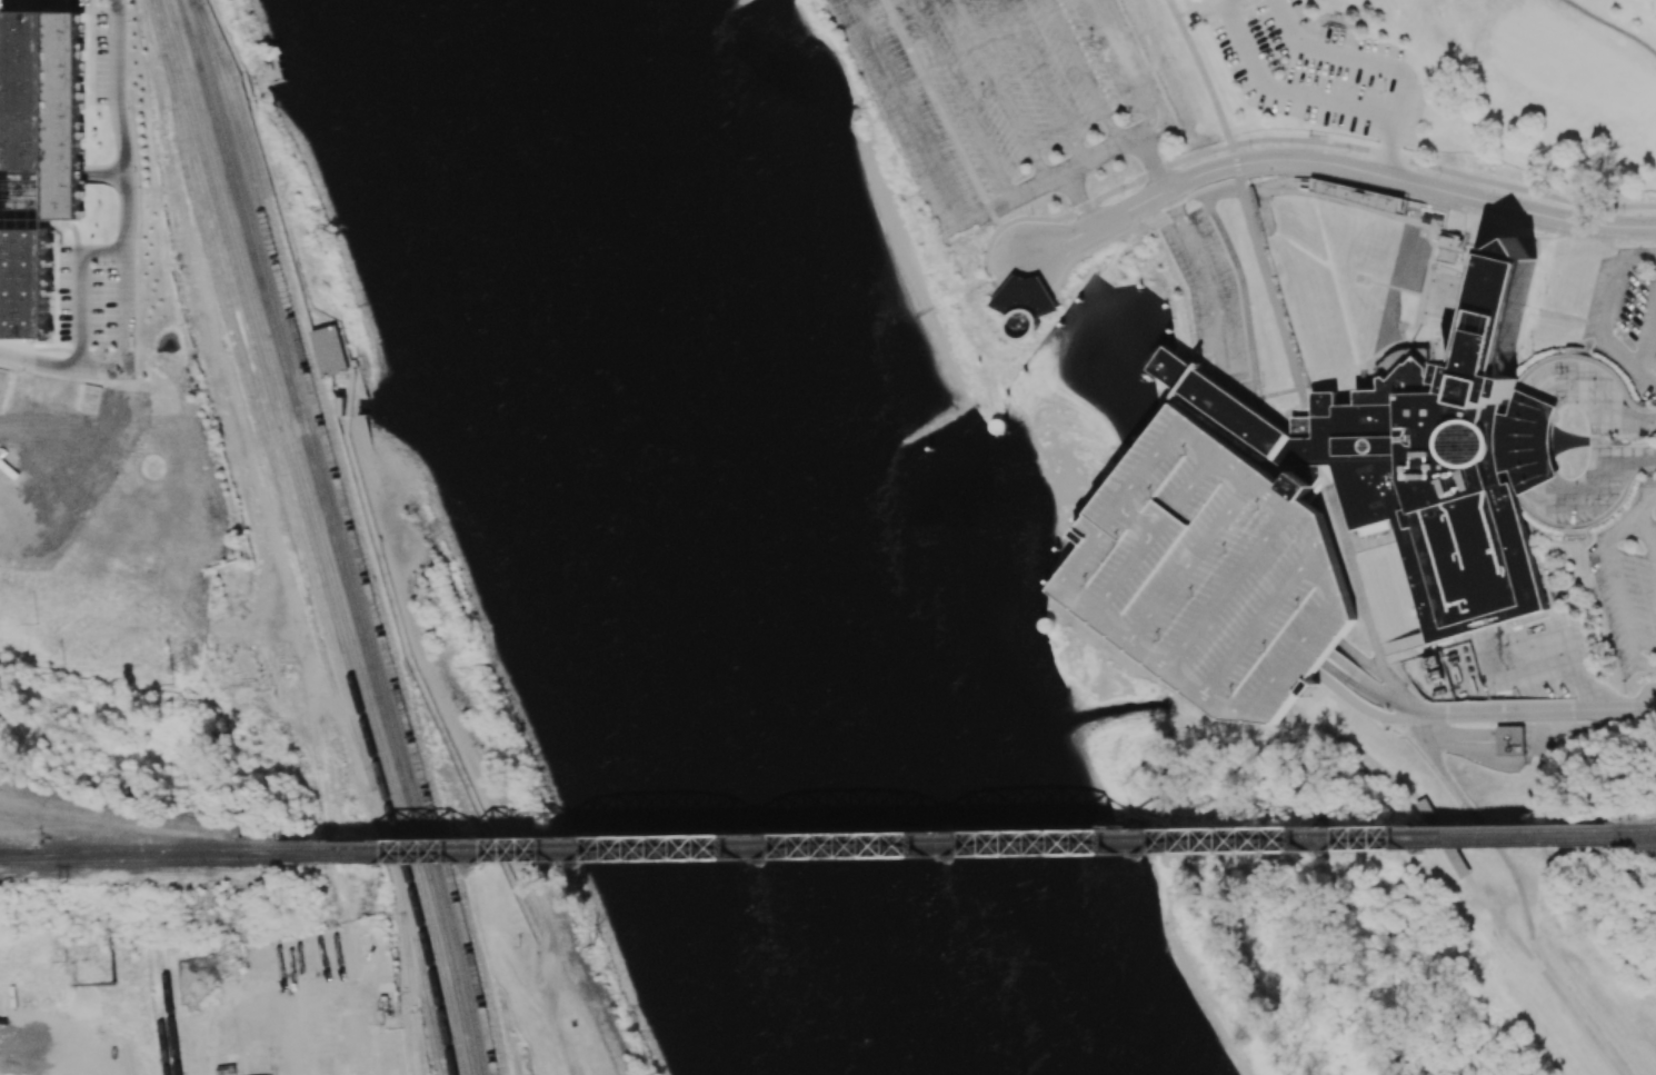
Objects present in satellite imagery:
road: (878, 8)
road: (857, 9)
road: (1609, 26)
road: (904, 40)
road: (1149, 47)
road: (1123, 62)
parking lot: (1315, 69)
road: (1083, 71)
park: (1444, 77)
road: (1041, 81)
road: (1000, 90)
parking lot: (1004, 96)
road: (959, 99)
road: (1384, 116)
road: (912, 119)
road: (1309, 139)
street lamp: (1249, 146)
road: (1389, 147)
street lamp: (1349, 150)
road: (1147, 151)
road: (1100, 152)
road: (961, 153)
building: (37, 157)
road: (1155, 169)
street lamp: (1440, 173)
road: (1409, 181)
road: (1358, 183)
road: (1205, 187)
road: (1233, 189)
road: (1520, 189)
road: (1244, 190)
road: (1185, 193)
building: (1359, 193)
road: (1015, 195)
street lamp: (1532, 197)
road: (1079, 199)
road: (1349, 201)
road: (1129, 207)
road: (1161, 209)
road: (1267, 209)
street lamp: (1625, 212)
road: (1007, 222)
road: (1519, 222)
road: (1143, 226)
road: (1324, 231)
road: (1589, 237)
road: (1542, 238)
road: (1479, 239)
road: (128, 248)
road: (1304, 249)
road: (1094, 250)
building: (1448, 251)
road: (1619, 252)
road: (1639, 257)
road: (1002, 270)
road: (1207, 273)
building: (1438, 275)
road: (1241, 286)
road: (1396, 287)
road: (80, 288)
parking lot: (1208, 290)
road: (1612, 296)
building: (1439, 298)
building: (1087, 299)
building: (1022, 306)
road: (1536, 310)
road: (1188, 312)
parking lot: (1626, 313)
road: (1347, 316)
road: (1596, 317)
building: (1427, 320)
road: (1597, 337)
road: (1585, 339)
building: (1439, 340)
road: (1648, 345)
road: (1580, 349)
building: (330, 350)
road: (1616, 354)
road: (1592, 359)
road: (1640, 376)
building: (2, 380)
building: (1027, 381)
road: (1653, 382)
building: (1510, 387)
road: (1219, 397)
building: (1166, 399)
parking lot: (1514, 399)
building: (1218, 401)
road: (1599, 401)
road: (1233, 402)
road: (1305, 402)
road: (1643, 422)
railway: (270, 424)
railway: (279, 424)
building: (997, 425)
road: (1255, 435)
road: (1598, 440)
building: (1526, 442)
road: (1529, 442)
road: (1214, 462)
building: (1440, 465)
road: (1155, 467)
road: (1609, 468)
building: (1314, 478)
road: (1257, 482)
road: (1647, 499)
road: (1618, 504)
road: (1119, 515)
road: (1536, 515)
road: (1335, 518)
road: (1143, 521)
road: (1623, 525)
road: (1167, 526)
road: (1314, 526)
road: (1525, 527)
building: (1374, 528)
road: (1577, 532)
railway: (362, 534)
road: (1648, 534)
railway: (321, 536)
railway: (332, 536)
railway: (342, 536)
river: (744, 540)
road: (1556, 540)
road: (1597, 543)
road: (1370, 545)
railway: (358, 550)
road: (1197, 564)
road: (1543, 574)
road: (1130, 575)
building: (1213, 575)
parking lot: (1213, 575)
road: (1071, 579)
road: (1234, 591)
parking lot: (1628, 595)
road: (1623, 601)
road: (1360, 603)
road: (1266, 624)
building: (1047, 625)
road: (1078, 627)
road: (1118, 629)
road: (1534, 634)
road: (1401, 645)
road: (1566, 648)
road: (1484, 651)
road: (1299, 656)
road: (1155, 657)
road: (1540, 659)
road: (1365, 661)
road: (1646, 666)
road: (1381, 667)
road: (1533, 678)
road: (1191, 684)
power tower: (173, 685)
road: (1592, 690)
road: (1371, 691)
road: (1643, 694)
road: (1405, 697)
road: (1364, 708)
road: (1537, 711)
road: (1423, 720)
road: (1562, 730)
building: (1509, 743)
road: (1468, 751)
road: (1445, 776)
power tower: (69, 792)
railway: (1632, 827)
railway: (947, 836)
railway: (1632, 837)
railway: (947, 846)
railway: (158, 849)
railway: (13, 850)
railway: (13, 852)
railway: (143, 859)
power tower: (77, 884)
power tower: (120, 955)
power tower: (233, 959)
railway: (431, 960)
railway: (403, 962)
railway: (421, 965)
road: (1544, 975)
railway: (412, 994)
railway: (160, 1011)
railway: (170, 1011)
railway: (509, 1038)
railway: (525, 1062)

